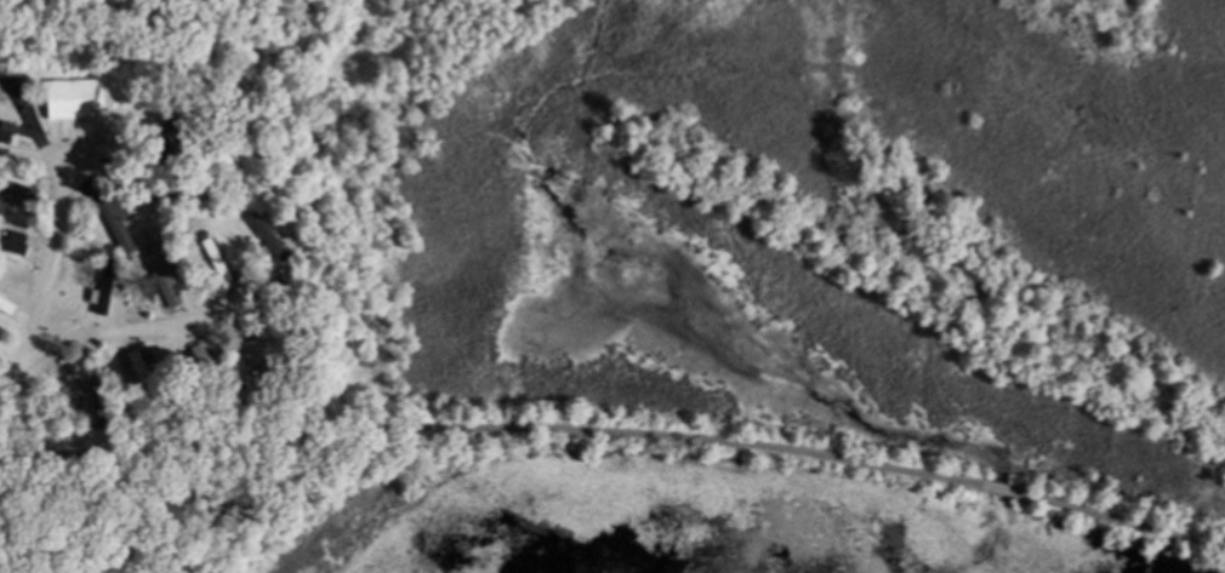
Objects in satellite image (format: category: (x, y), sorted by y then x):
building: (68, 98)
building: (4, 126)
building: (164, 139)
building: (195, 182)
building: (16, 183)
building: (160, 189)
building: (226, 193)
building: (192, 202)
road: (47, 216)
building: (113, 218)
building: (148, 229)
building: (199, 230)
building: (264, 230)
building: (146, 243)
building: (8, 246)
building: (210, 251)
building: (159, 274)
building: (97, 285)
building: (4, 302)
road: (152, 326)
building: (260, 354)
building: (135, 371)
building: (203, 373)
building: (286, 377)
building: (78, 380)
building: (233, 383)
building: (178, 390)
building: (164, 394)
building: (95, 416)
road: (615, 435)

